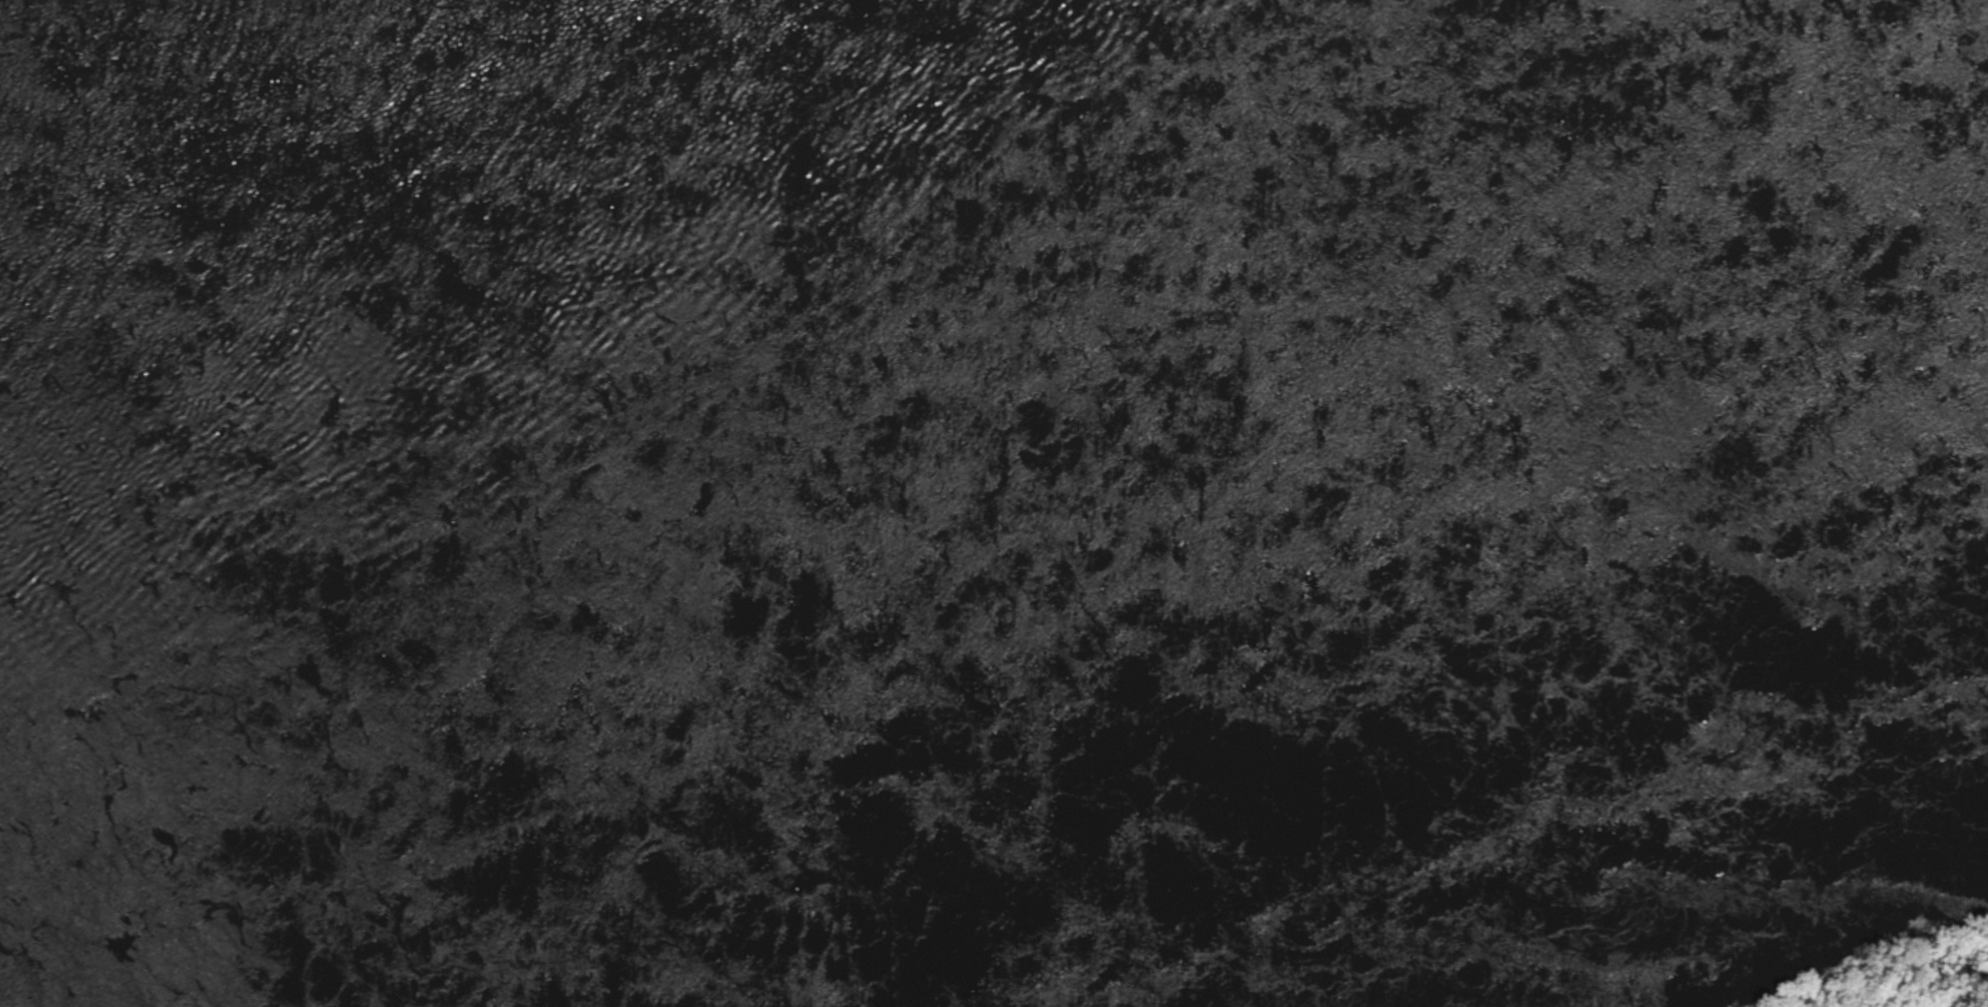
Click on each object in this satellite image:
river: (994, 134)

